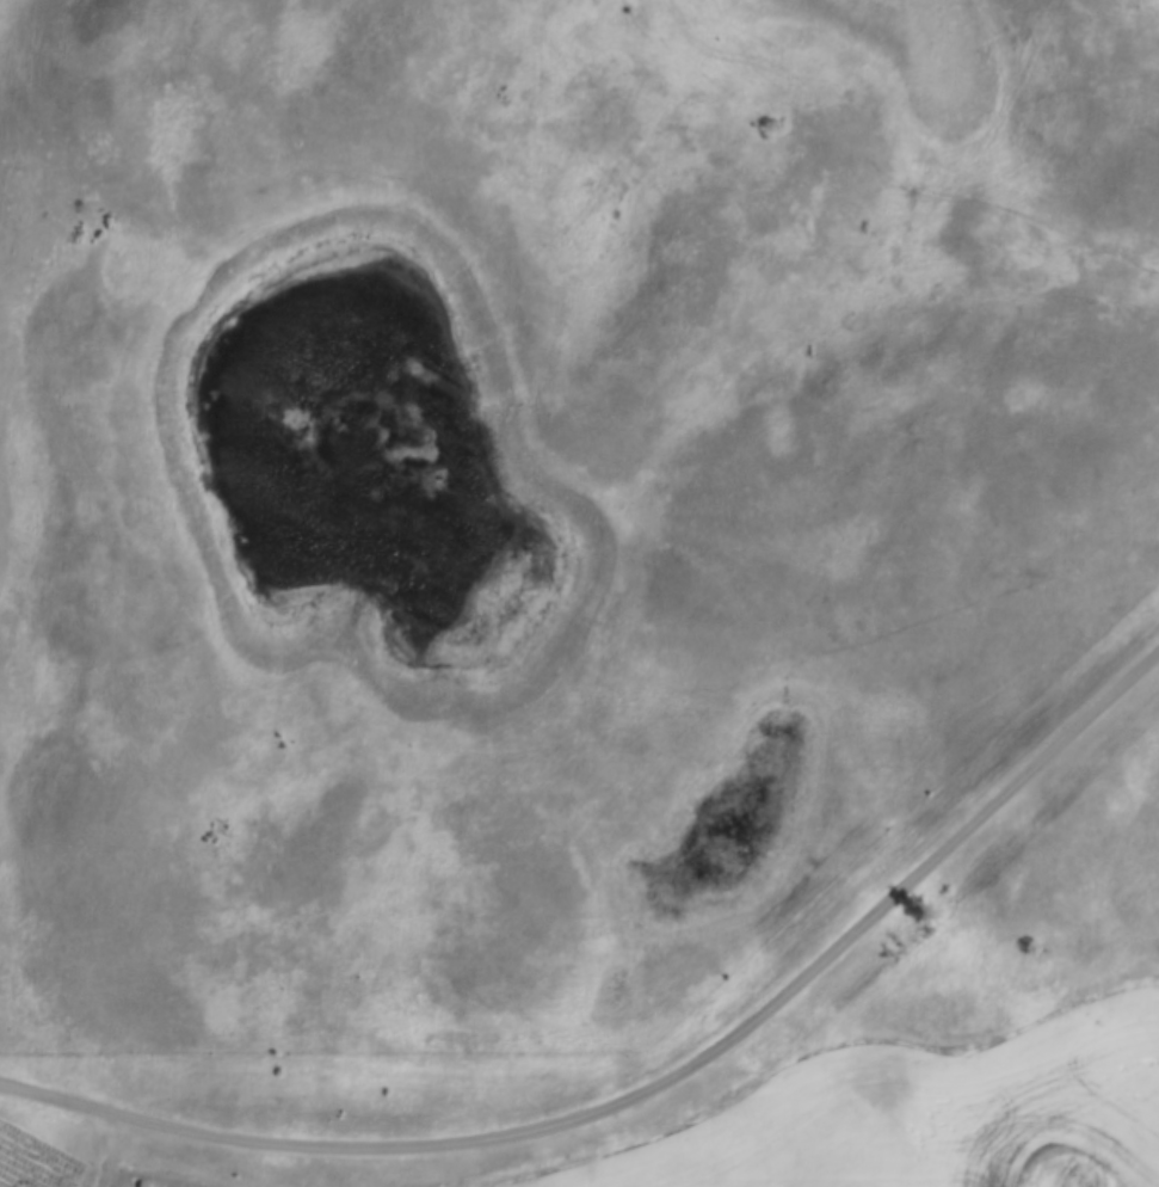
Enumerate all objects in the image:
road: (652, 1078)

